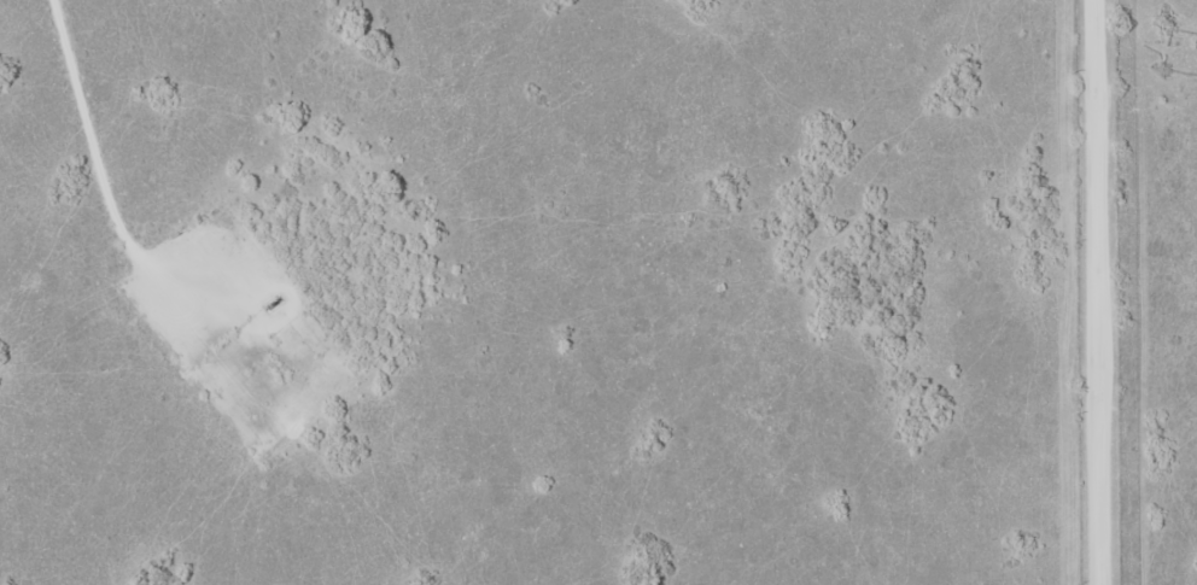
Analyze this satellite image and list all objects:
road: (1085, 292)

